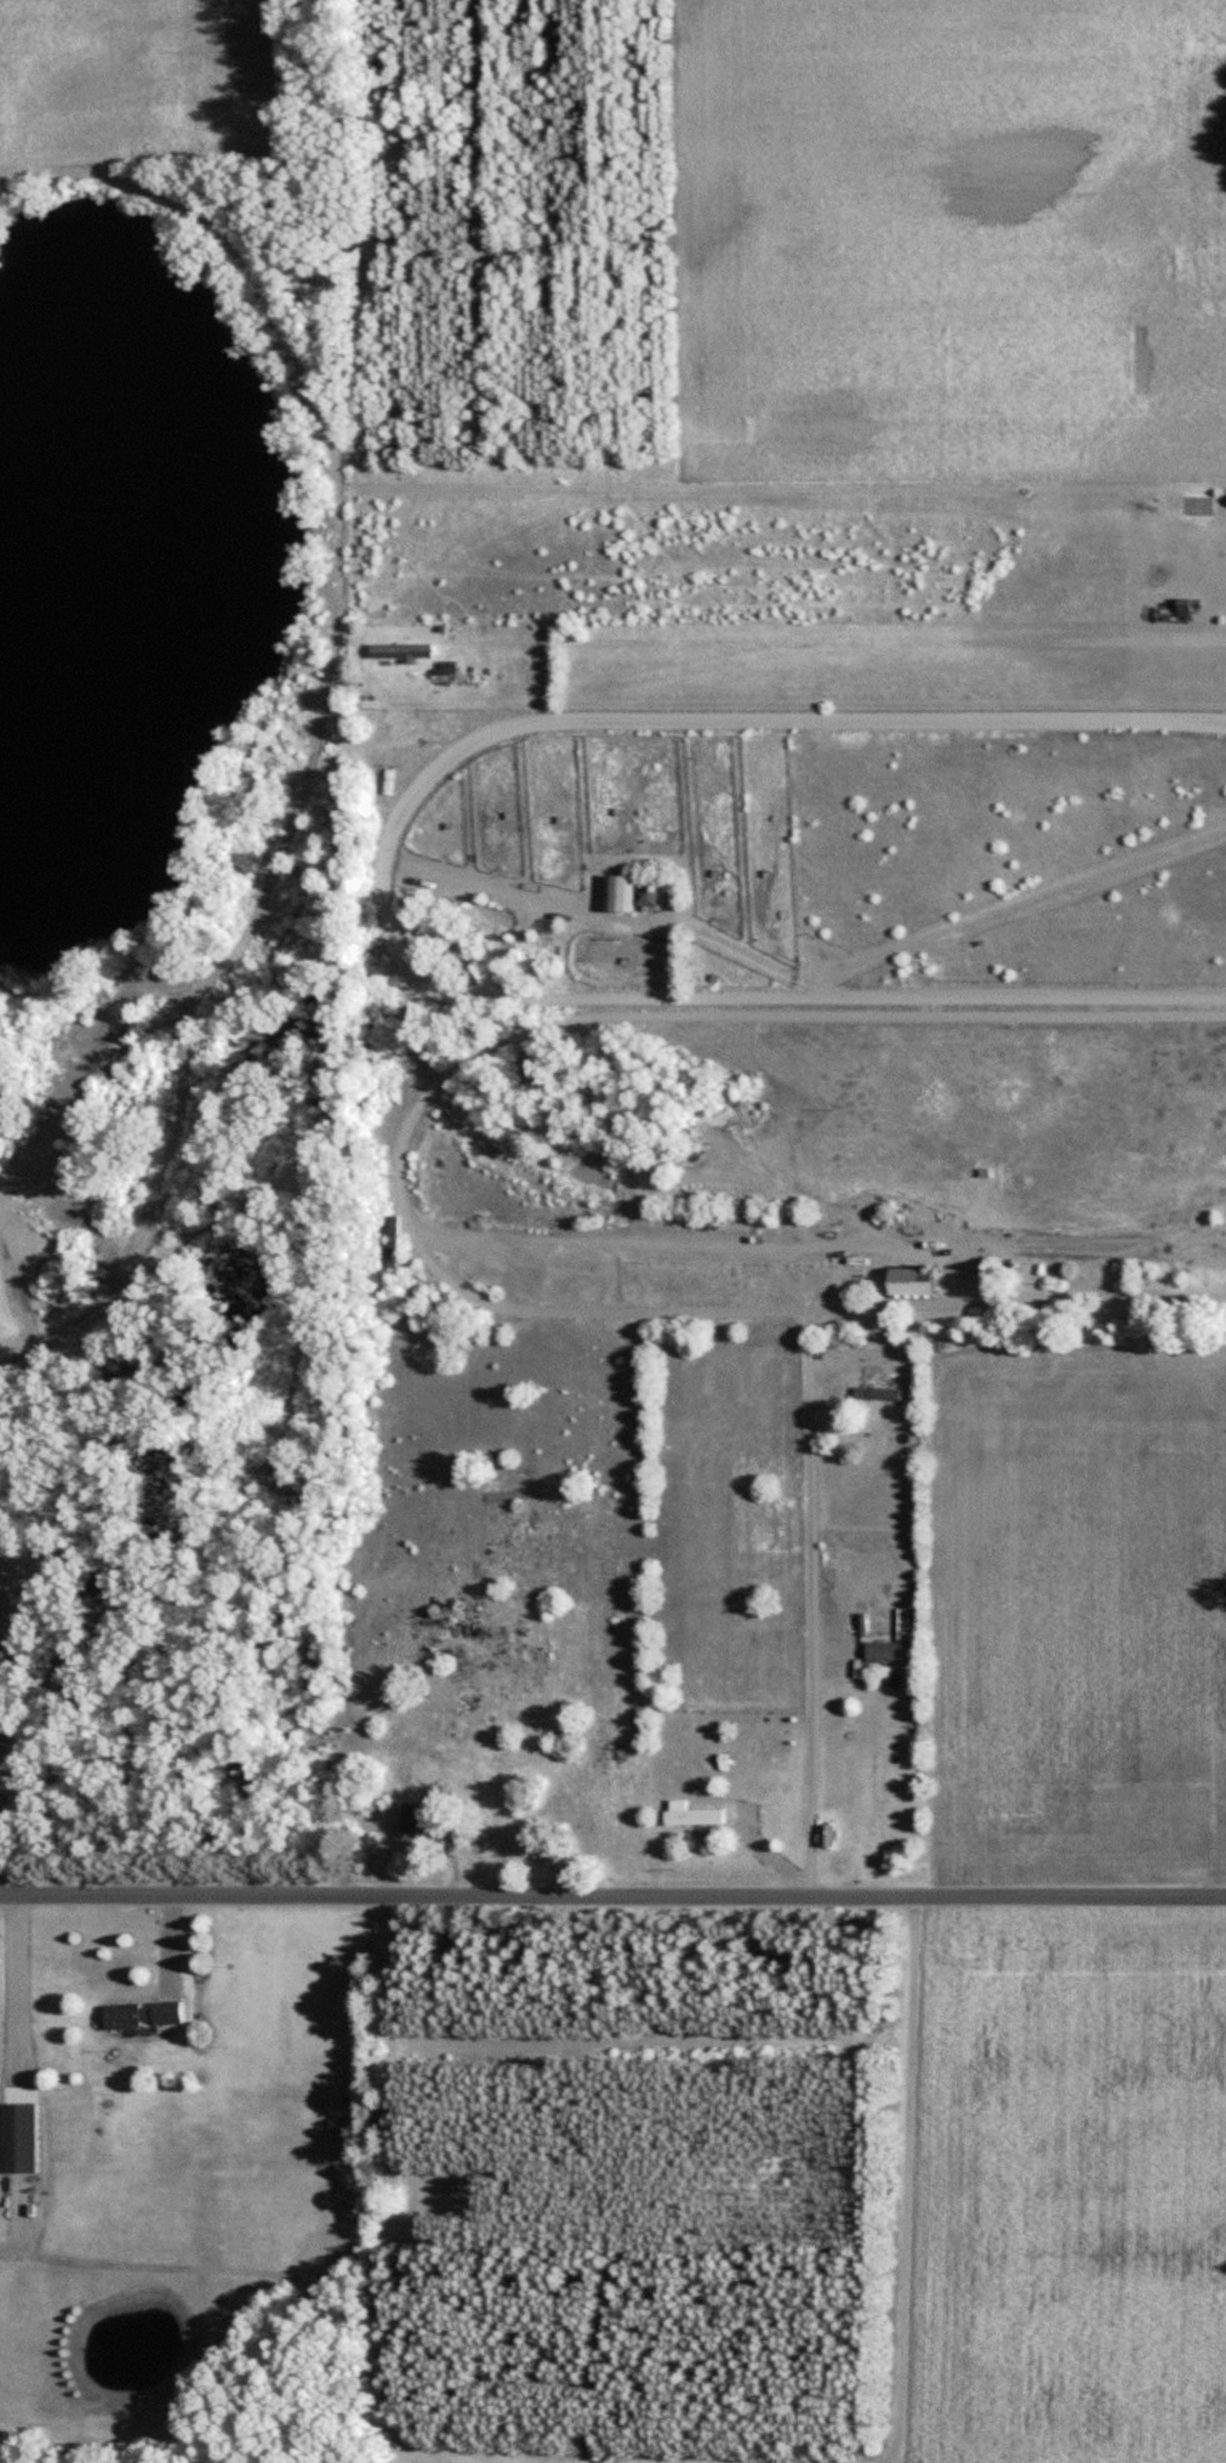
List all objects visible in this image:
building: (1188, 607)
building: (798, 632)
road: (848, 638)
building: (401, 652)
building: (455, 676)
building: (628, 893)
road: (399, 1170)
building: (392, 1242)
building: (911, 1280)
building: (872, 1393)
road: (802, 1600)
building: (884, 1651)
building: (412, 1820)
building: (826, 1836)
road: (612, 1895)
road: (18, 2002)
building: (143, 2014)
building: (18, 2139)

